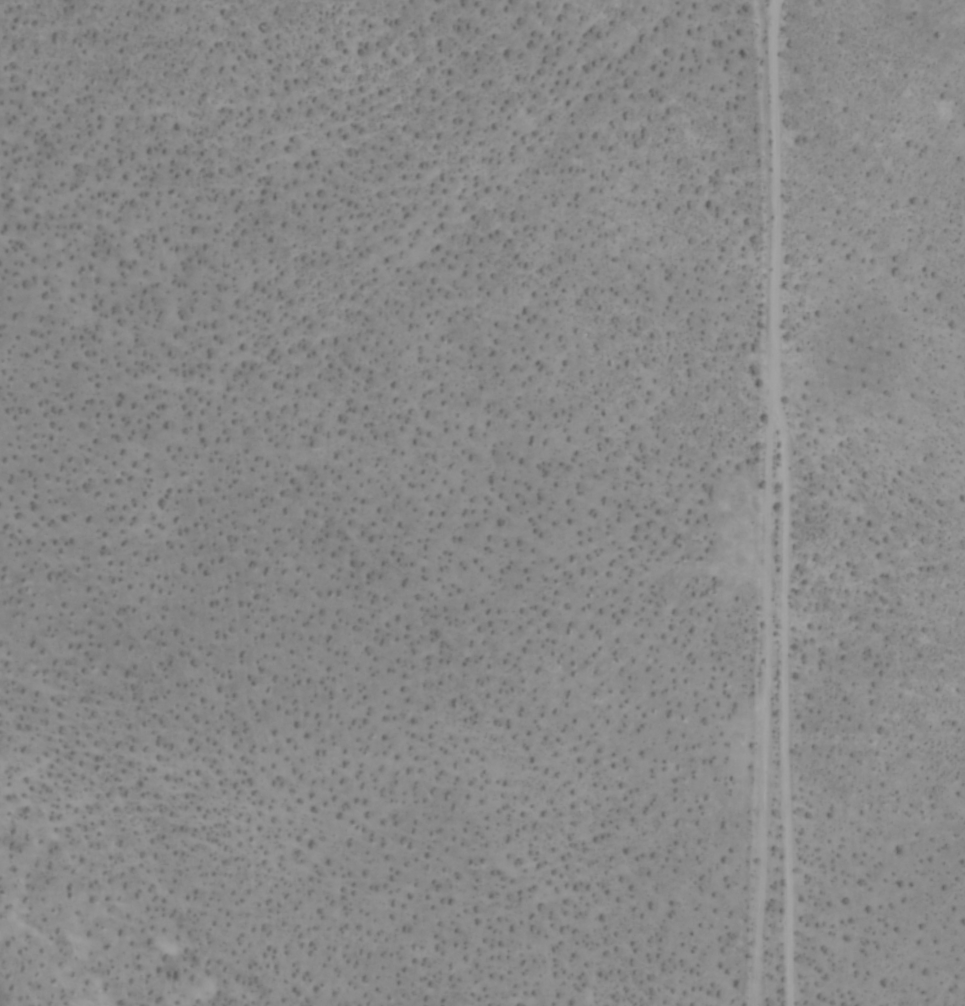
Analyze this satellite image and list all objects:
road: (778, 502)

